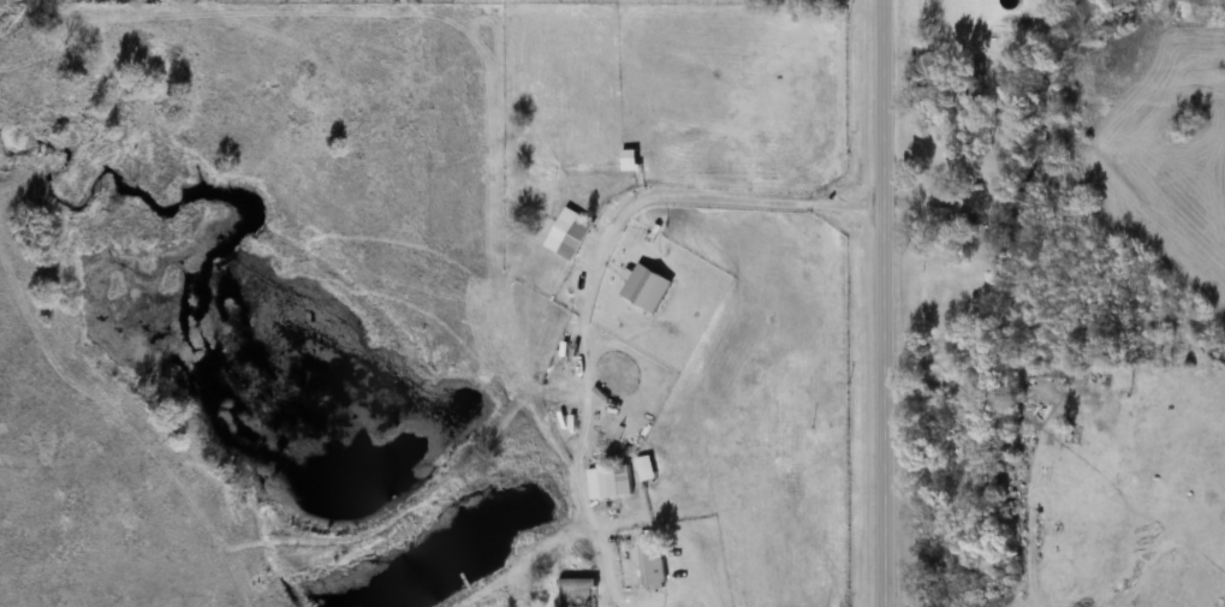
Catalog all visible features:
building: (971, 88)
building: (629, 157)
road: (721, 201)
building: (569, 234)
building: (961, 237)
building: (648, 287)
road: (874, 303)
building: (646, 469)
building: (609, 482)
building: (652, 566)
road: (713, 591)

